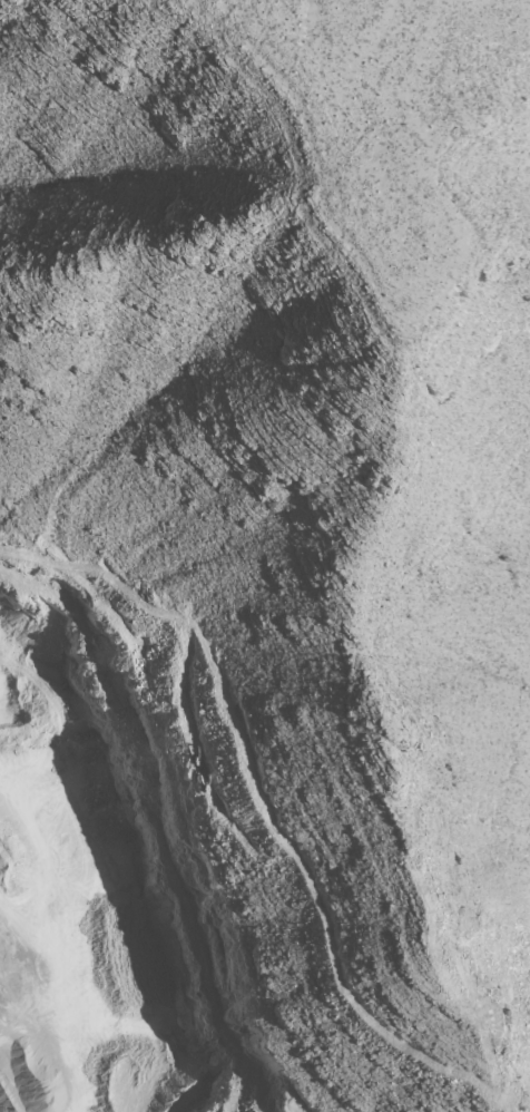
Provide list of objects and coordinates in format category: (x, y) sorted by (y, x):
quarry: (60, 921)

